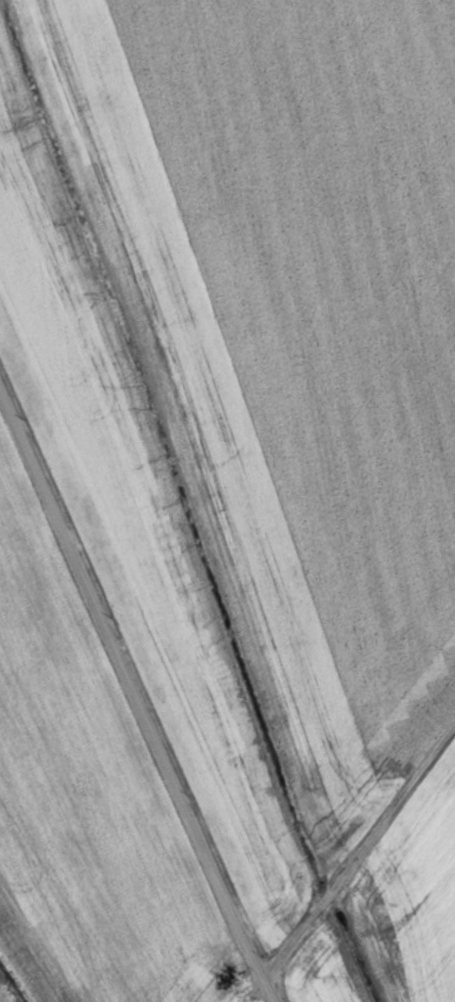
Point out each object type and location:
road: (138, 694)
road: (359, 853)

